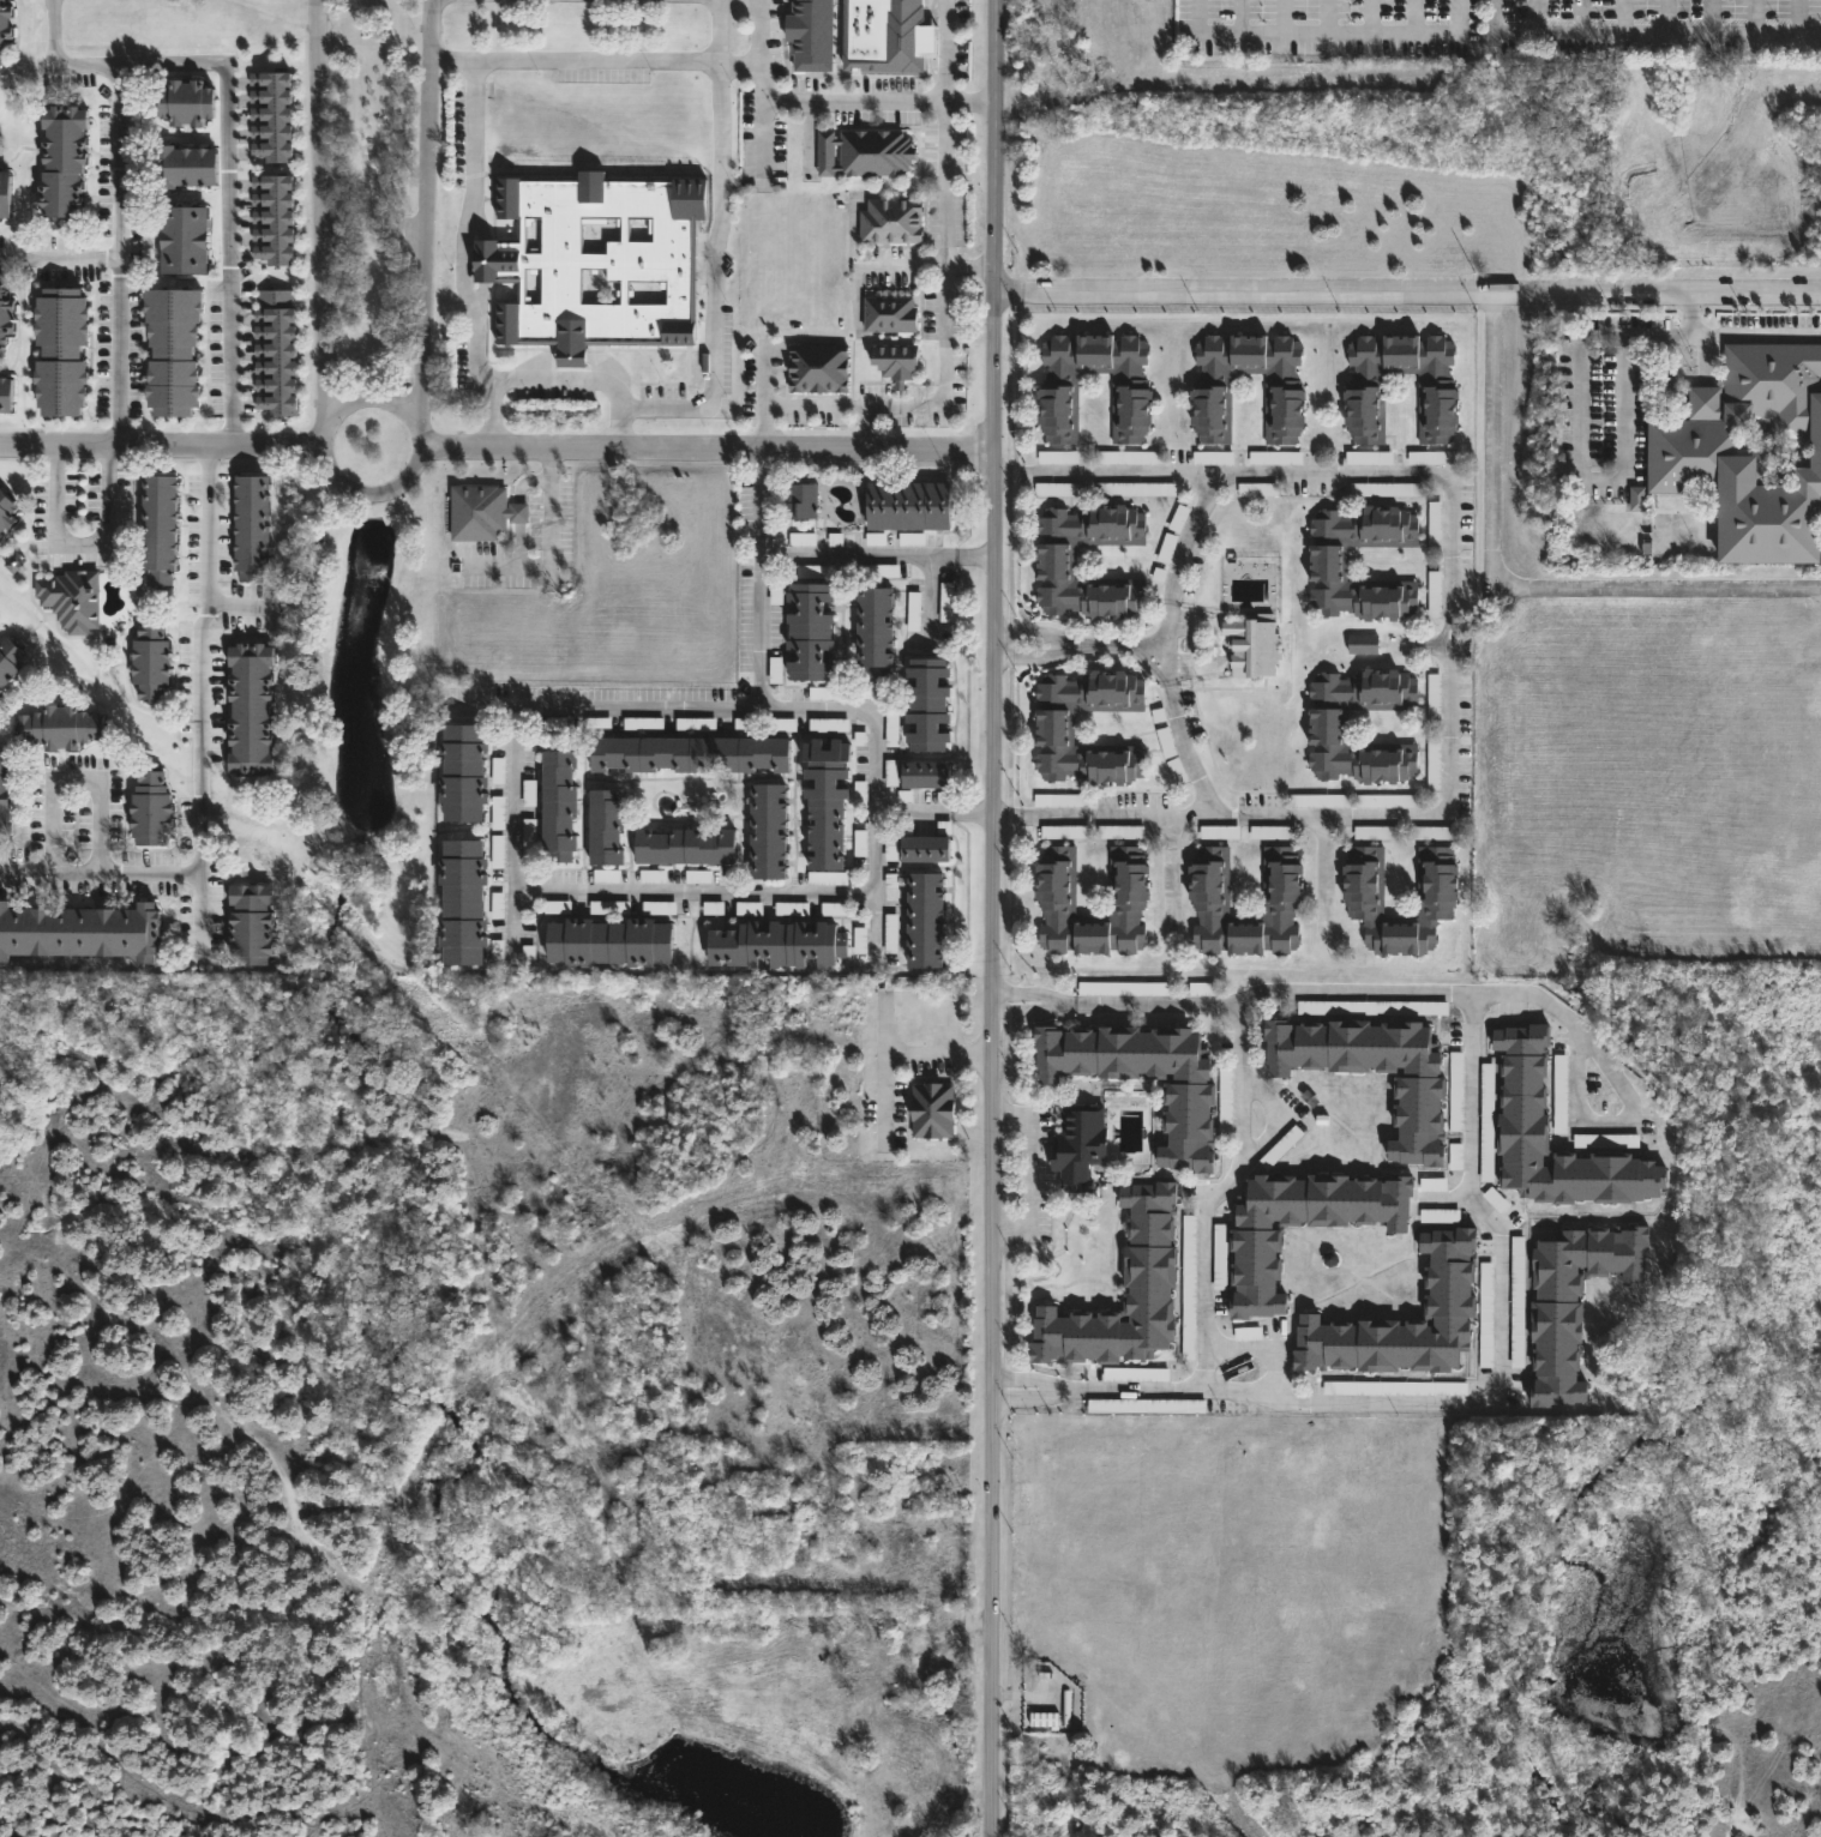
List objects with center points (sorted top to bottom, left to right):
road: (707, 1)
road: (1240, 17)
road: (1282, 17)
road: (1326, 17)
road: (1369, 17)
road: (1414, 17)
road: (1458, 18)
road: (1497, 18)
road: (1537, 18)
road: (1583, 18)
road: (1627, 18)
road: (1667, 18)
road: (1713, 18)
road: (1755, 18)
road: (1799, 18)
building: (5, 26)
parking lot: (1498, 28)
road: (761, 35)
building: (811, 35)
building: (887, 36)
road: (1494, 36)
road: (946, 52)
road: (56, 64)
road: (721, 68)
building: (187, 102)
building: (272, 116)
building: (870, 153)
building: (64, 163)
building: (186, 167)
building: (5, 193)
road: (228, 201)
road: (323, 210)
road: (425, 210)
building: (274, 218)
building: (896, 222)
road: (119, 223)
building: (185, 241)
road: (723, 253)
building: (596, 261)
road: (972, 263)
road: (1408, 295)
building: (6, 315)
building: (894, 315)
road: (483, 326)
road: (1755, 333)
building: (173, 348)
building: (62, 350)
road: (119, 353)
building: (277, 354)
building: (899, 362)
road: (944, 365)
building: (818, 368)
building: (1057, 386)
building: (1285, 387)
building: (1438, 392)
building: (8, 397)
road: (498, 417)
road: (1579, 421)
road: (160, 446)
road: (708, 452)
building: (1748, 453)
building: (1216, 456)
building: (1058, 457)
building: (1129, 457)
road: (413, 469)
road: (1009, 474)
building: (1057, 489)
road: (761, 493)
building: (805, 500)
building: (914, 504)
building: (6, 511)
building: (486, 512)
building: (252, 524)
building: (160, 526)
building: (0, 535)
road: (1190, 535)
road: (761, 543)
road: (548, 546)
road: (859, 555)
building: (1056, 556)
road: (976, 558)
road: (89, 561)
building: (1329, 567)
building: (66, 594)
building: (90, 595)
road: (930, 601)
road: (1508, 601)
building: (914, 612)
road: (1032, 628)
road: (761, 630)
building: (811, 630)
building: (876, 631)
road: (1167, 642)
road: (1116, 643)
building: (1366, 644)
building: (1258, 645)
road: (1458, 648)
road: (1034, 656)
building: (11, 661)
building: (155, 661)
building: (776, 670)
road: (209, 700)
building: (930, 704)
road: (793, 705)
building: (252, 709)
building: (644, 724)
building: (687, 724)
building: (745, 724)
building: (65, 725)
building: (829, 725)
building: (893, 727)
building: (1328, 727)
building: (1057, 728)
building: (695, 753)
road: (1183, 753)
building: (465, 773)
building: (927, 773)
road: (84, 785)
building: (6, 790)
building: (1060, 800)
building: (828, 801)
building: (564, 805)
building: (155, 808)
road: (915, 812)
building: (499, 813)
road: (974, 813)
road: (1008, 813)
building: (611, 826)
building: (774, 831)
building: (1065, 832)
building: (1120, 832)
building: (1213, 832)
road: (516, 833)
building: (1377, 833)
building: (693, 845)
building: (927, 848)
building: (499, 851)
road: (1329, 865)
road: (1170, 866)
building: (828, 878)
road: (103, 884)
road: (698, 887)
building: (1284, 896)
building: (1129, 899)
building: (463, 902)
building: (1363, 903)
building: (750, 908)
building: (792, 909)
road: (996, 917)
building: (926, 920)
building: (256, 923)
building: (83, 930)
building: (891, 933)
building: (607, 941)
building: (776, 944)
building: (1124, 989)
road: (1038, 992)
road: (1275, 993)
road: (1527, 995)
road: (1036, 1006)
building: (1316, 1007)
building: (1396, 1007)
road: (884, 1023)
road: (893, 1054)
building: (1422, 1089)
building: (1456, 1091)
building: (1189, 1094)
building: (1561, 1095)
building: (1226, 1098)
building: (1488, 1108)
building: (933, 1110)
building: (1522, 1124)
road: (1612, 1125)
building: (1591, 1140)
building: (1076, 1145)
road: (1029, 1174)
building: (1257, 1241)
building: (1219, 1257)
building: (1150, 1267)
building: (1517, 1302)
building: (1574, 1302)
building: (1450, 1305)
building: (1486, 1314)
building: (1248, 1333)
building: (1136, 1374)
road: (1041, 1377)
road: (1148, 1386)
building: (1395, 1389)
road: (1041, 1397)
road: (1359, 1401)
building: (1141, 1405)
road: (1021, 1696)
building: (1045, 1719)

